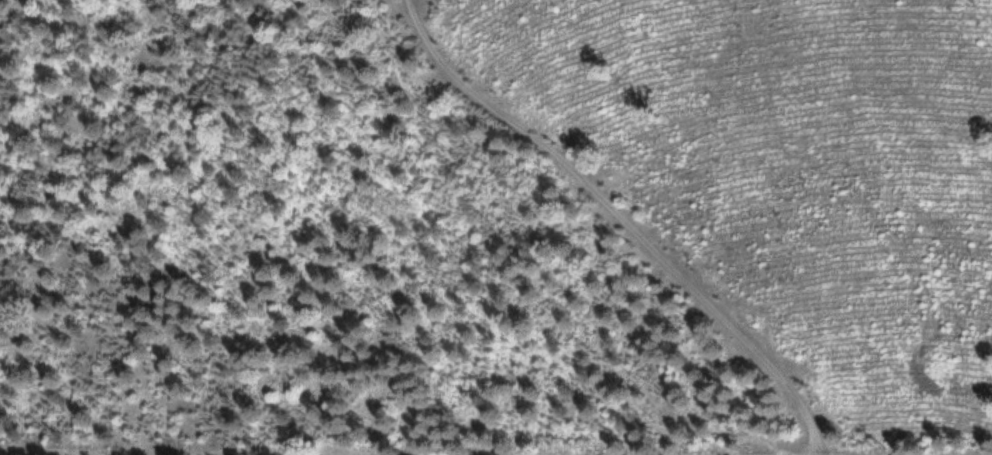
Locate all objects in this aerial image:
road: (621, 218)

